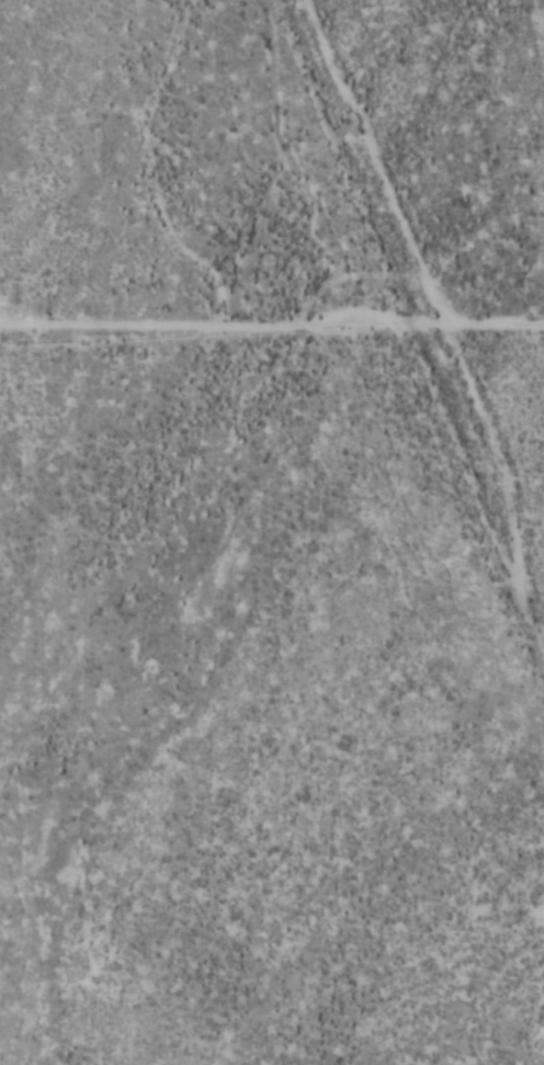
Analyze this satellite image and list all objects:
road: (433, 263)
crop: (272, 532)

